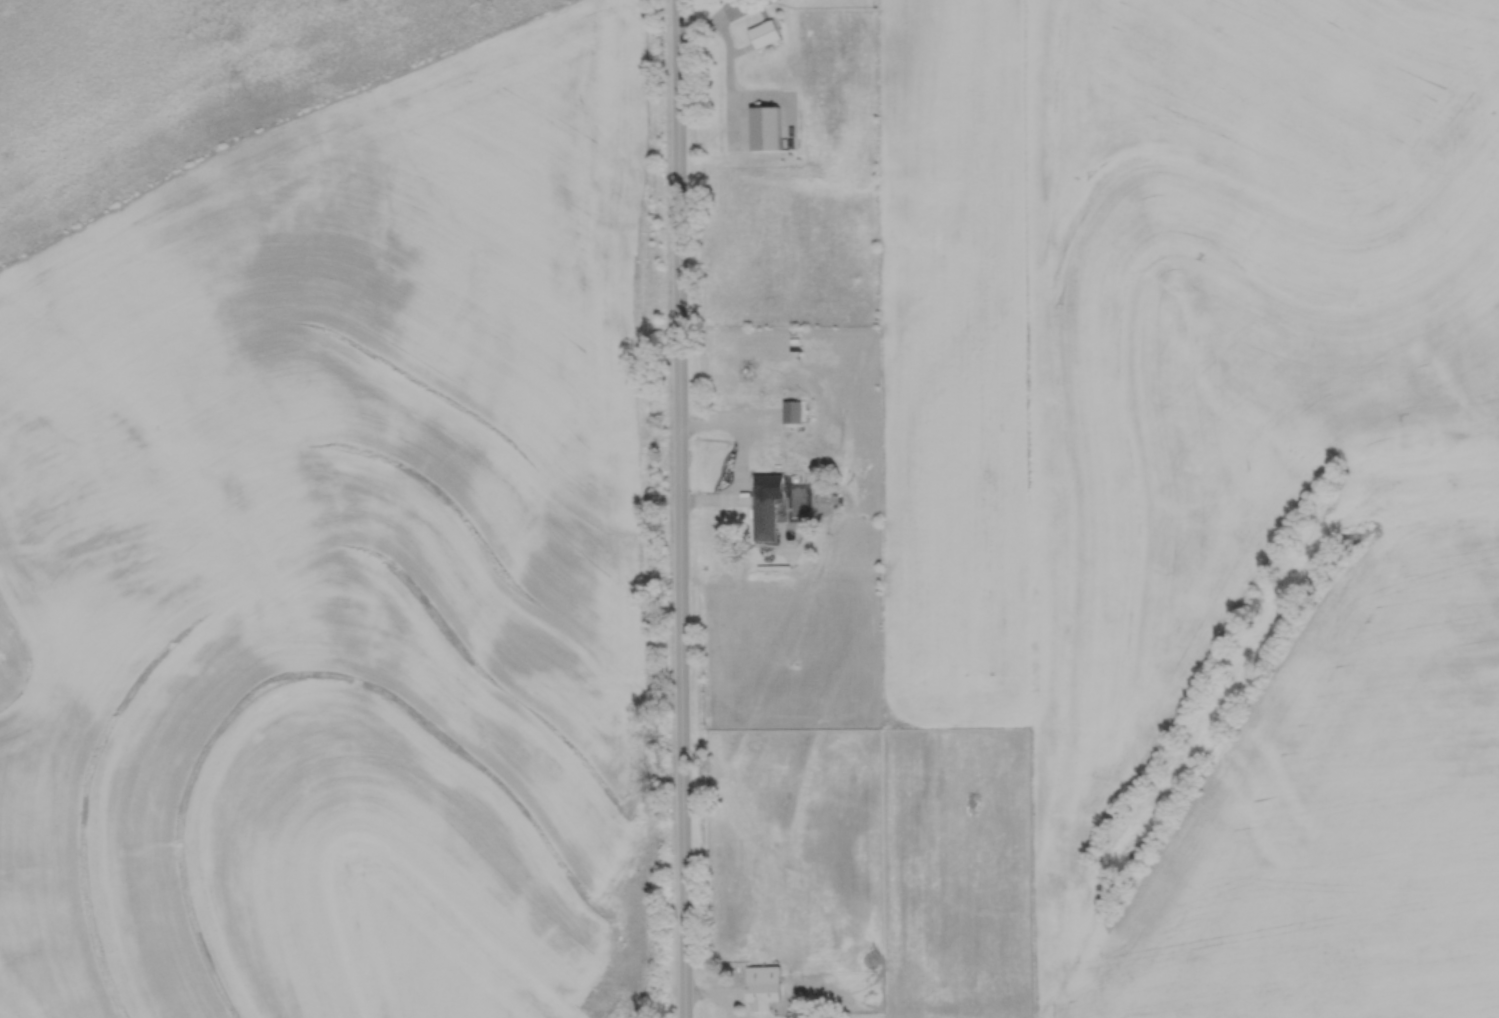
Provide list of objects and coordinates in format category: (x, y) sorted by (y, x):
building: (763, 34)
building: (790, 412)
road: (679, 509)
building: (763, 515)
building: (761, 986)

